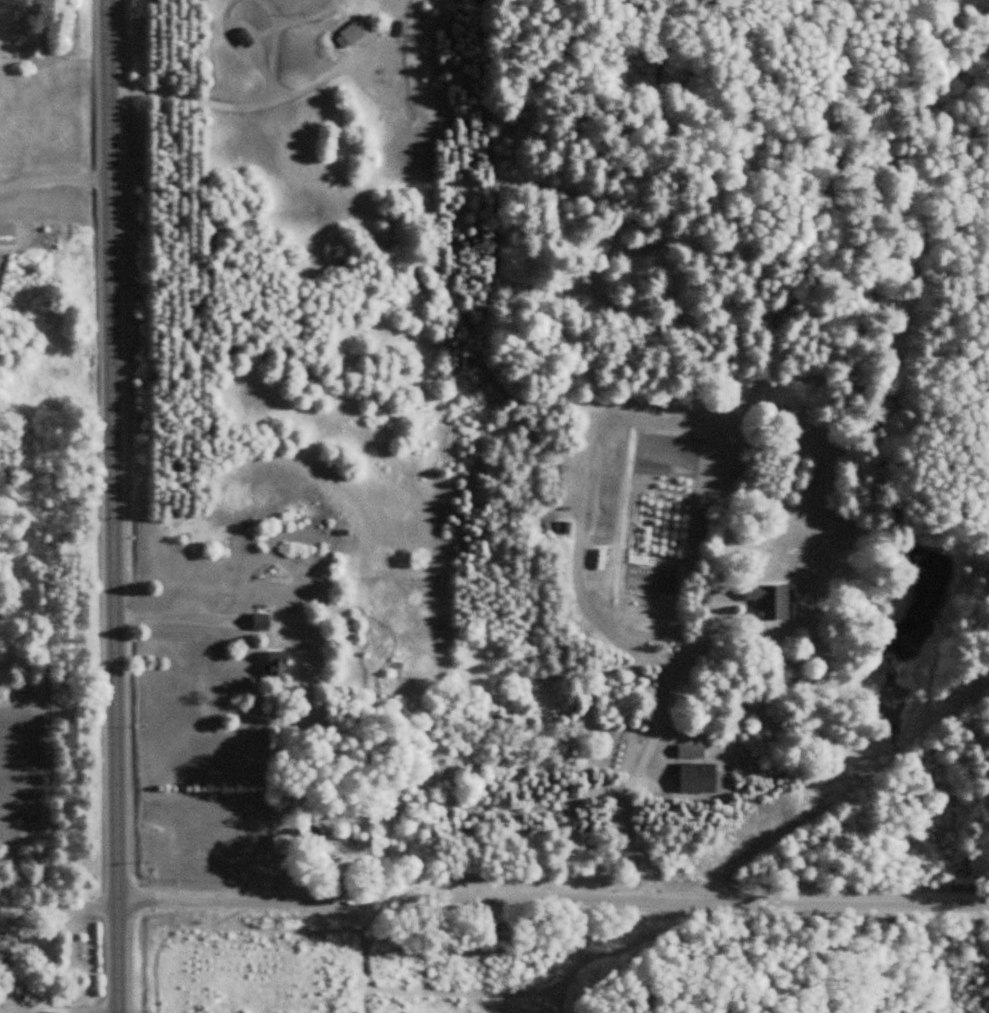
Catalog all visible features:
building: (353, 34)
building: (244, 38)
road: (115, 506)
building: (770, 599)
building: (261, 621)
building: (277, 664)
building: (698, 777)
building: (363, 841)
building: (323, 844)
building: (282, 845)
road: (554, 898)
building: (2, 955)

